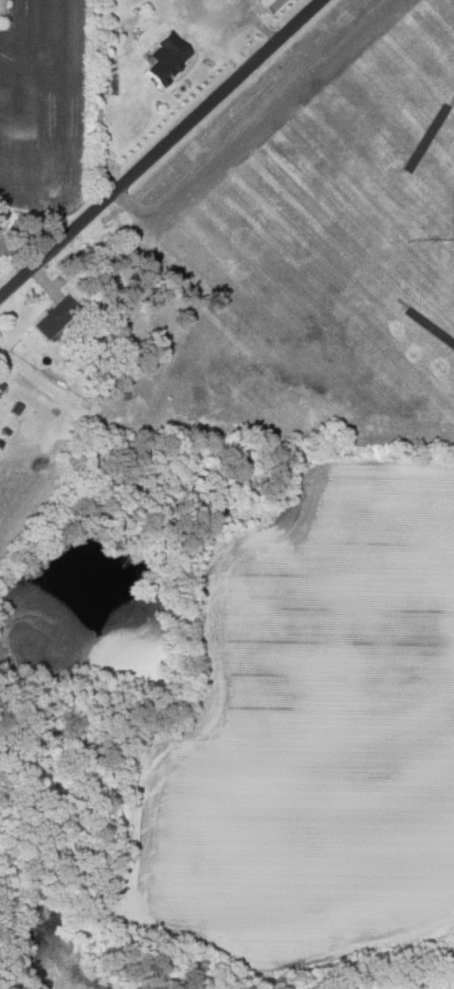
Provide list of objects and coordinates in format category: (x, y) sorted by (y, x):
building: (270, 5)
building: (165, 59)
building: (108, 85)
road: (254, 123)
road: (160, 149)
park: (313, 227)
building: (55, 315)
crop: (309, 737)

